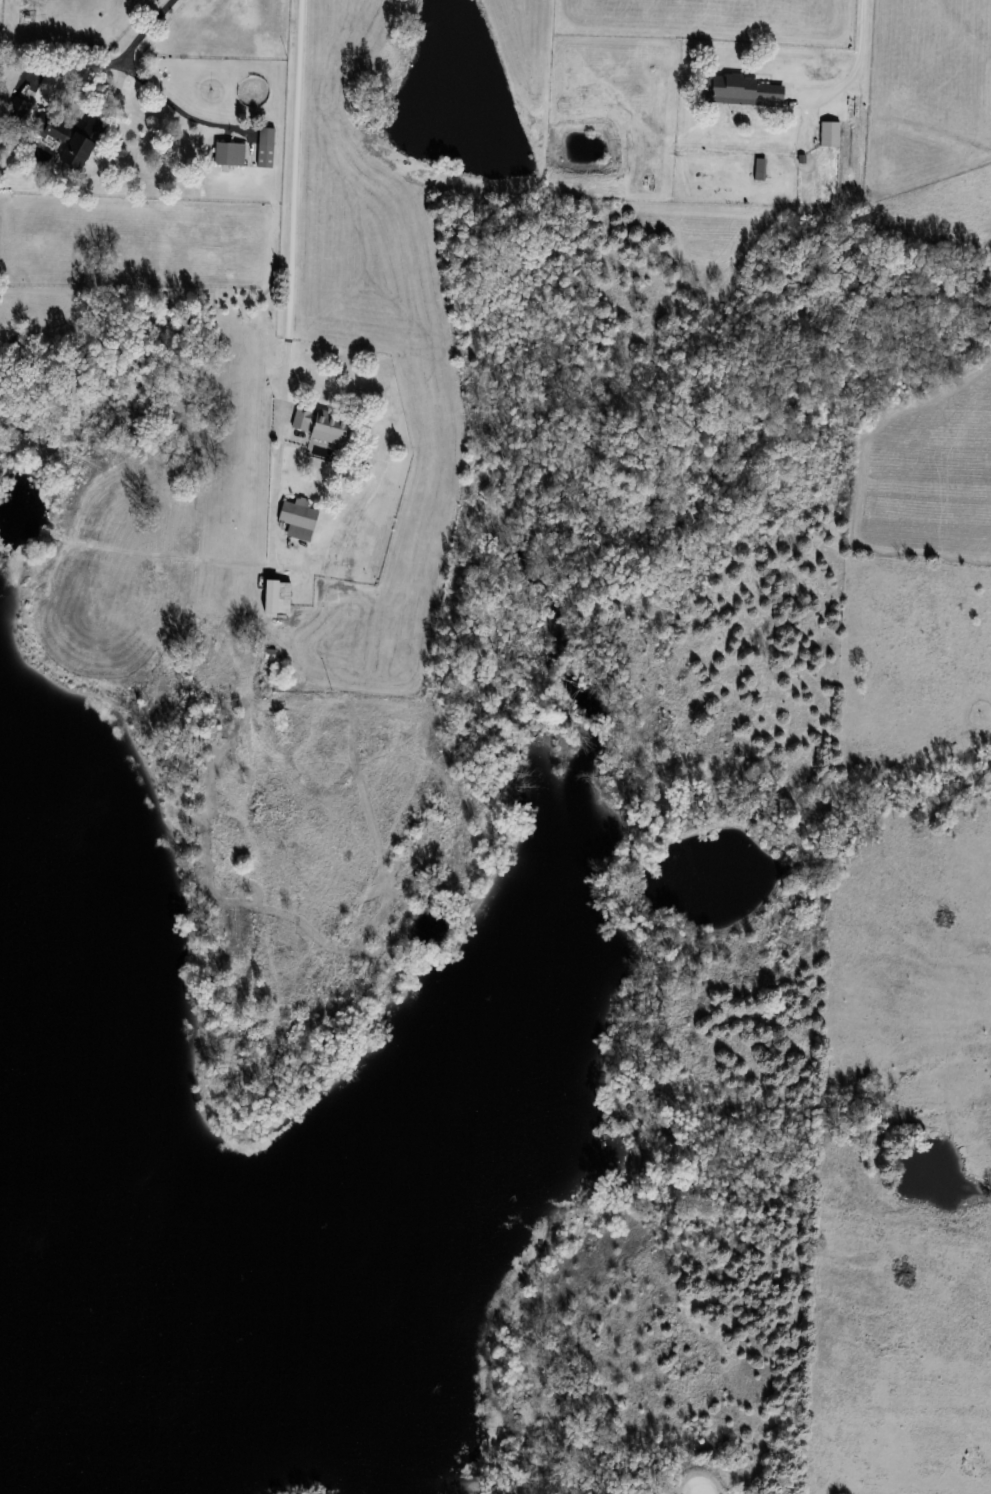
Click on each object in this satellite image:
road: (857, 61)
road: (139, 79)
building: (743, 91)
building: (16, 110)
building: (828, 134)
building: (70, 140)
building: (264, 147)
building: (228, 153)
building: (758, 168)
road: (290, 282)
building: (318, 424)
building: (296, 519)
building: (275, 597)
road: (700, 1493)

